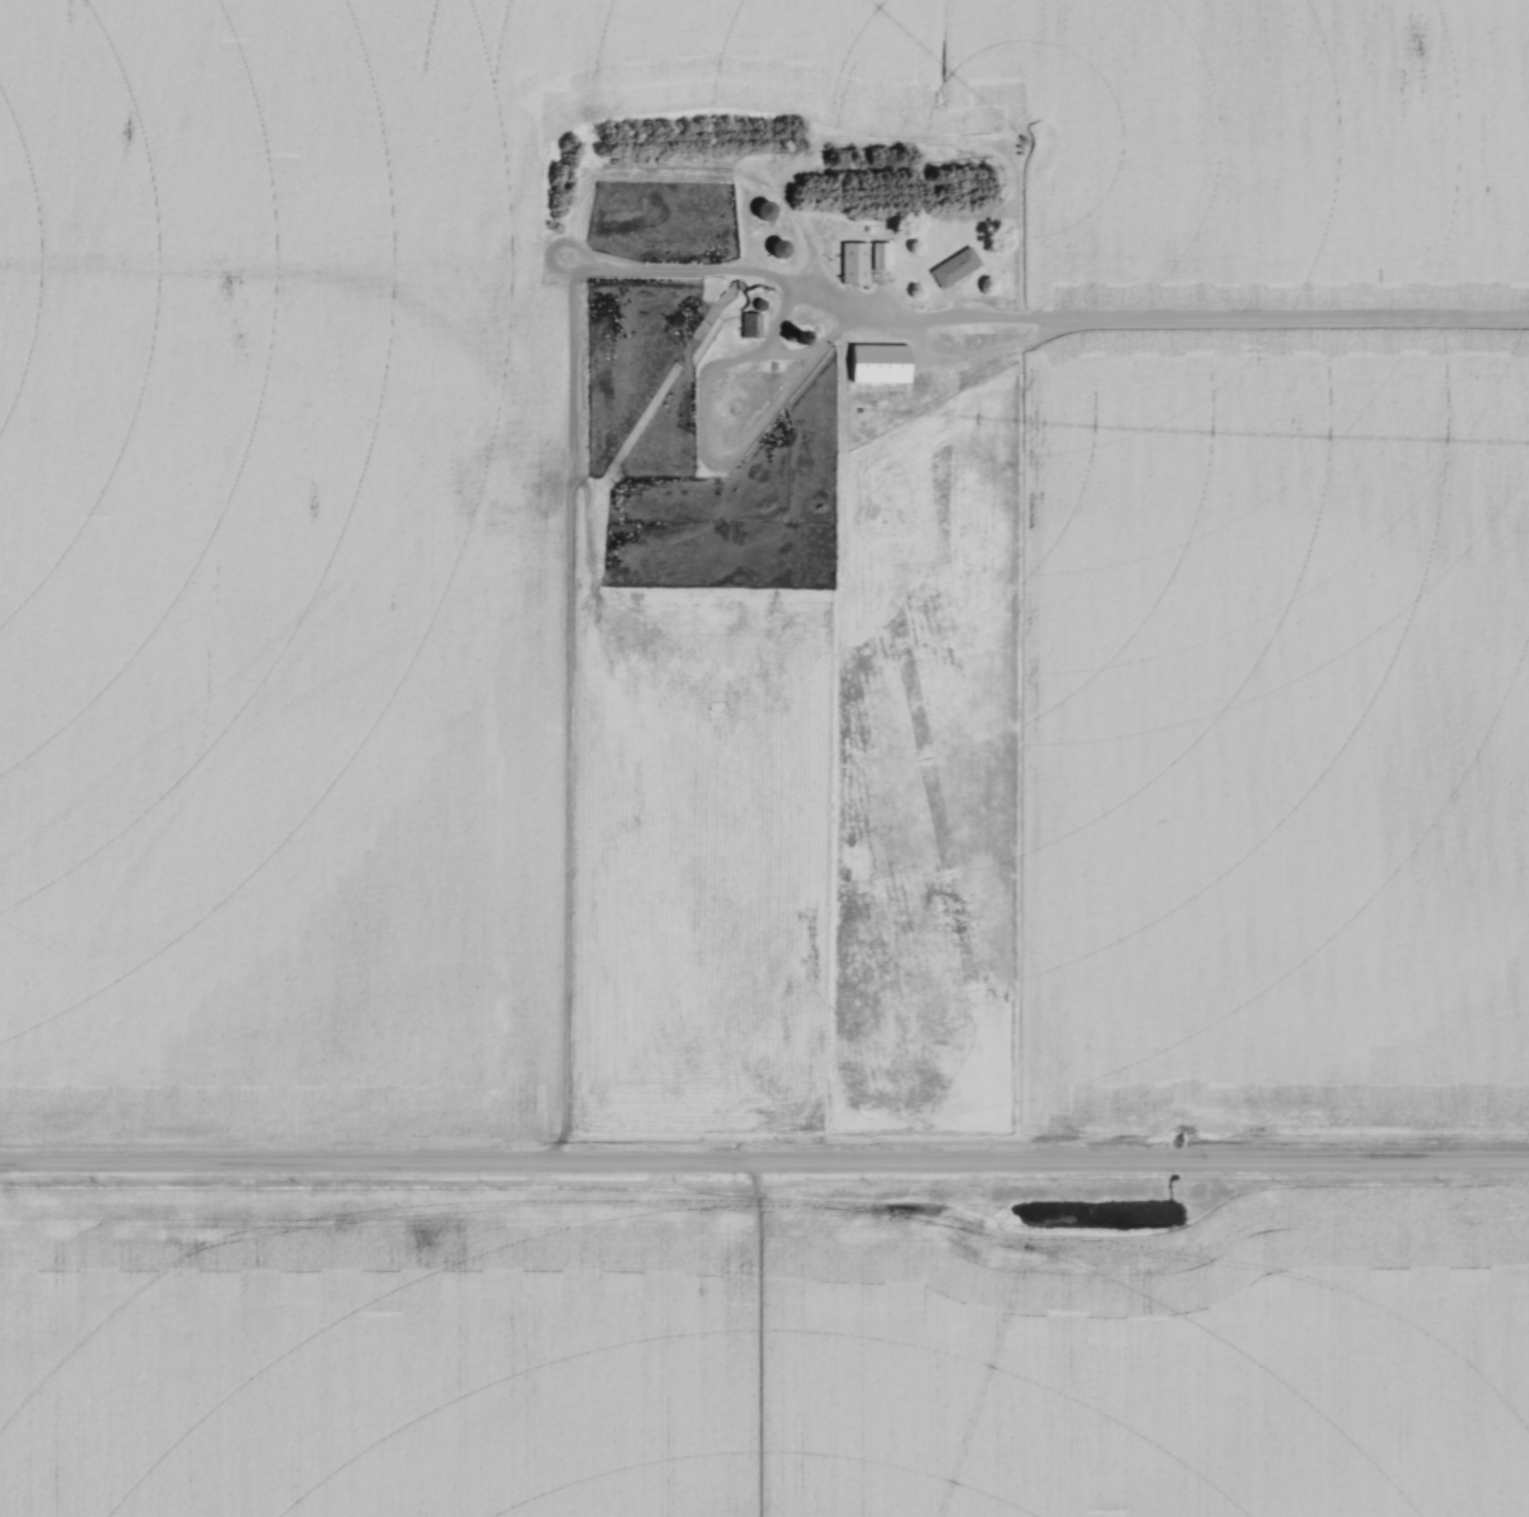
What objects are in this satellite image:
building: (767, 212)
building: (781, 250)
building: (883, 257)
building: (855, 264)
building: (957, 268)
road: (1166, 318)
building: (753, 326)
building: (882, 364)
road: (764, 1160)

